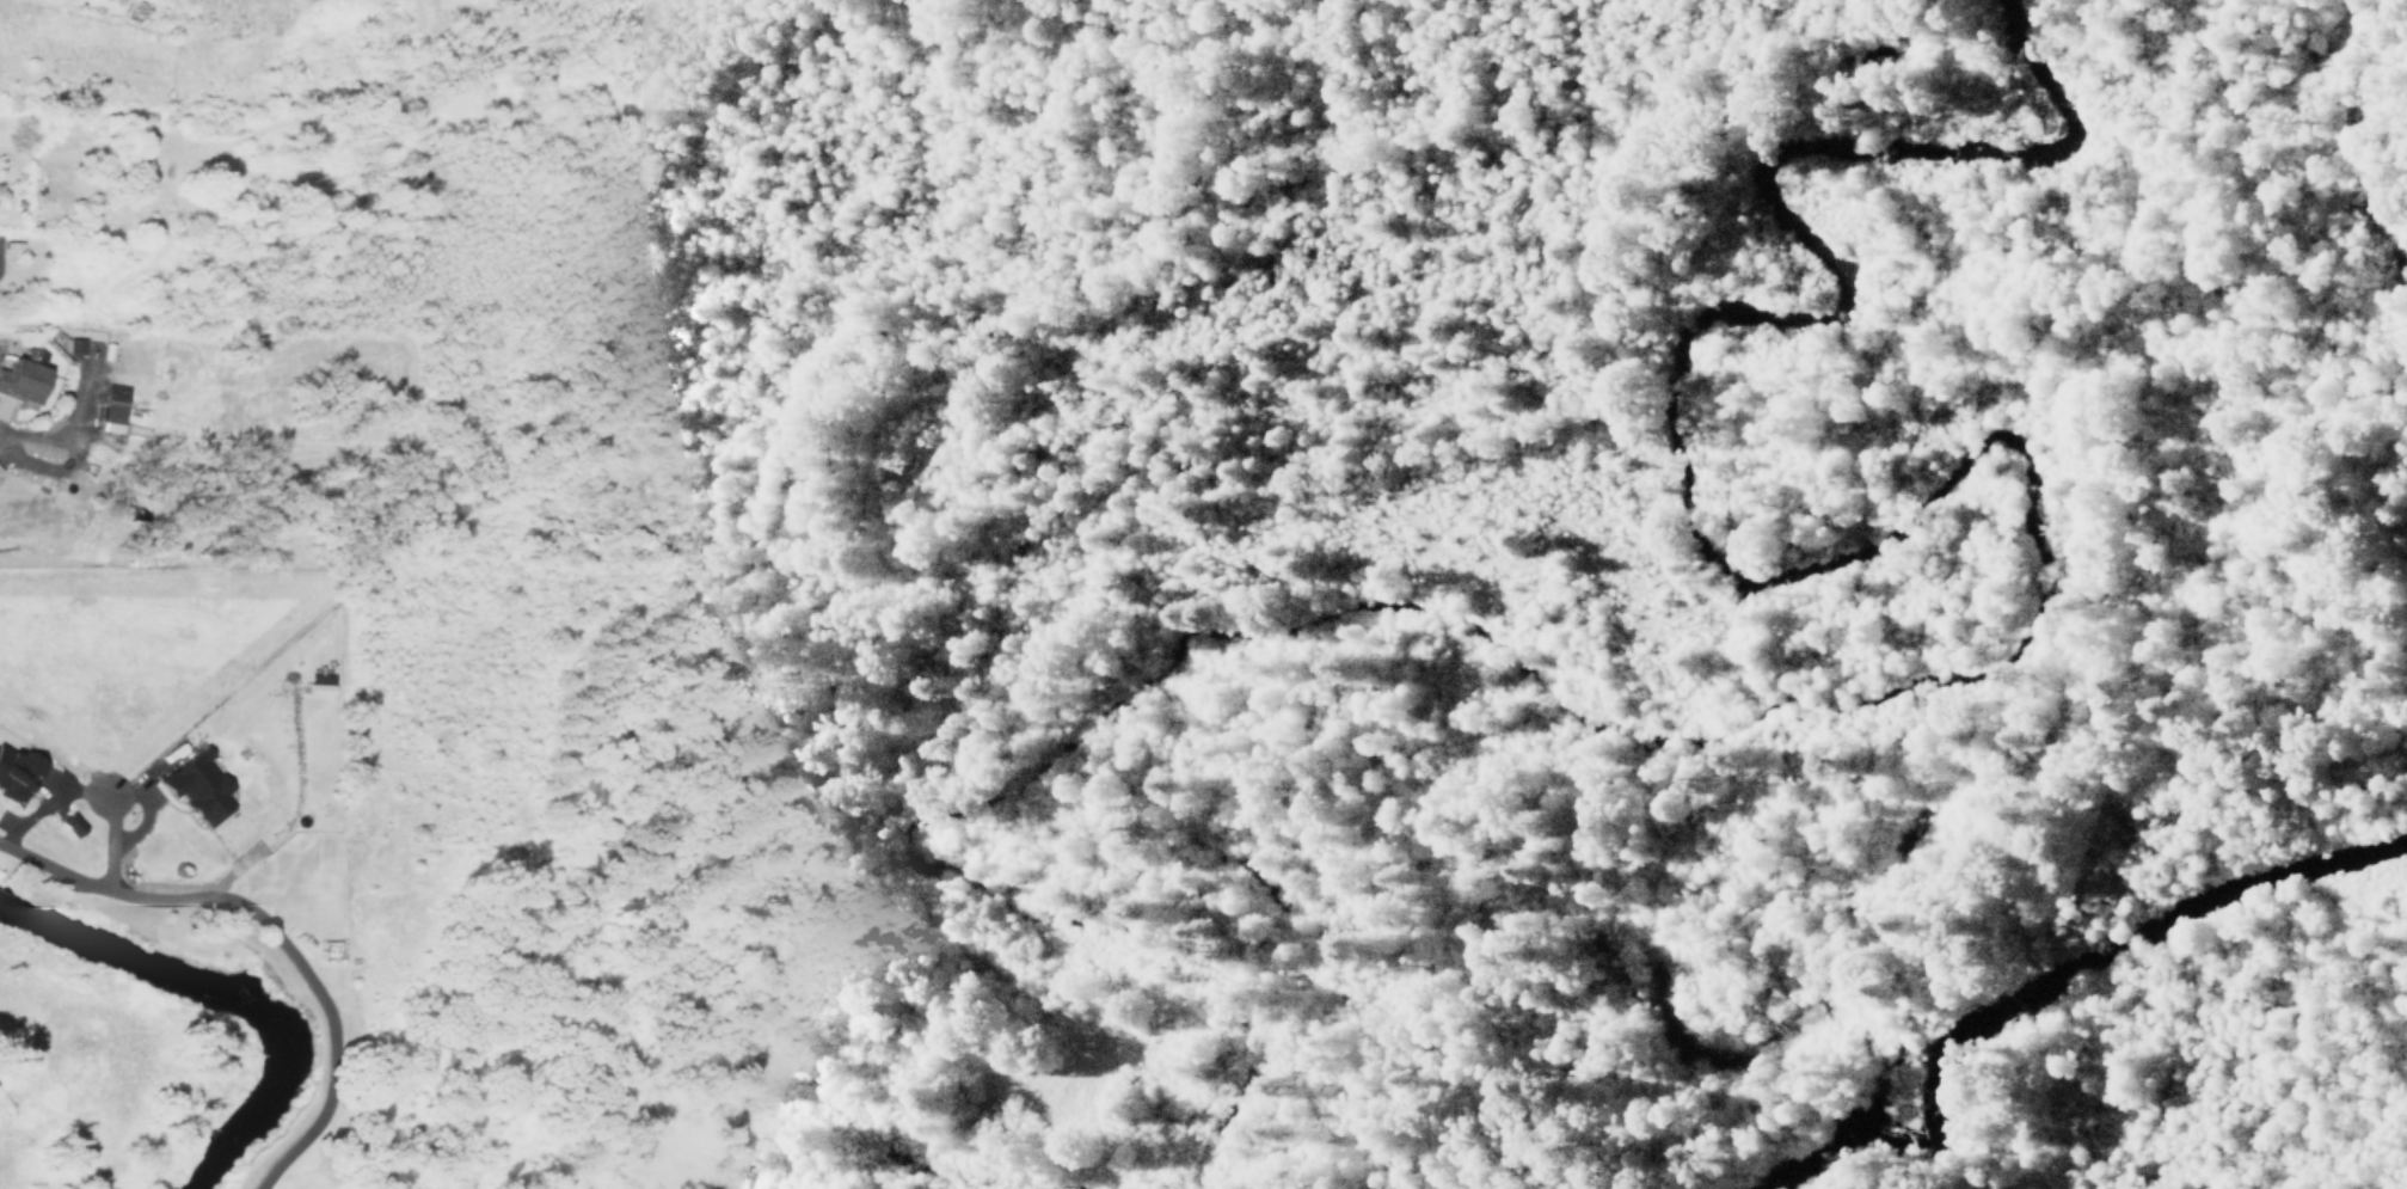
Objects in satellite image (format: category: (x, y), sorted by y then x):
road: (1709, 20)
road: (669, 257)
building: (62, 341)
building: (14, 372)
building: (5, 403)
building: (98, 407)
crop: (90, 448)
road: (1418, 553)
road: (1048, 568)
building: (320, 684)
building: (14, 774)
building: (196, 786)
building: (70, 823)
road: (532, 854)
road: (1425, 870)
road: (271, 939)
river: (2046, 976)
river: (227, 994)
road: (2102, 1009)

